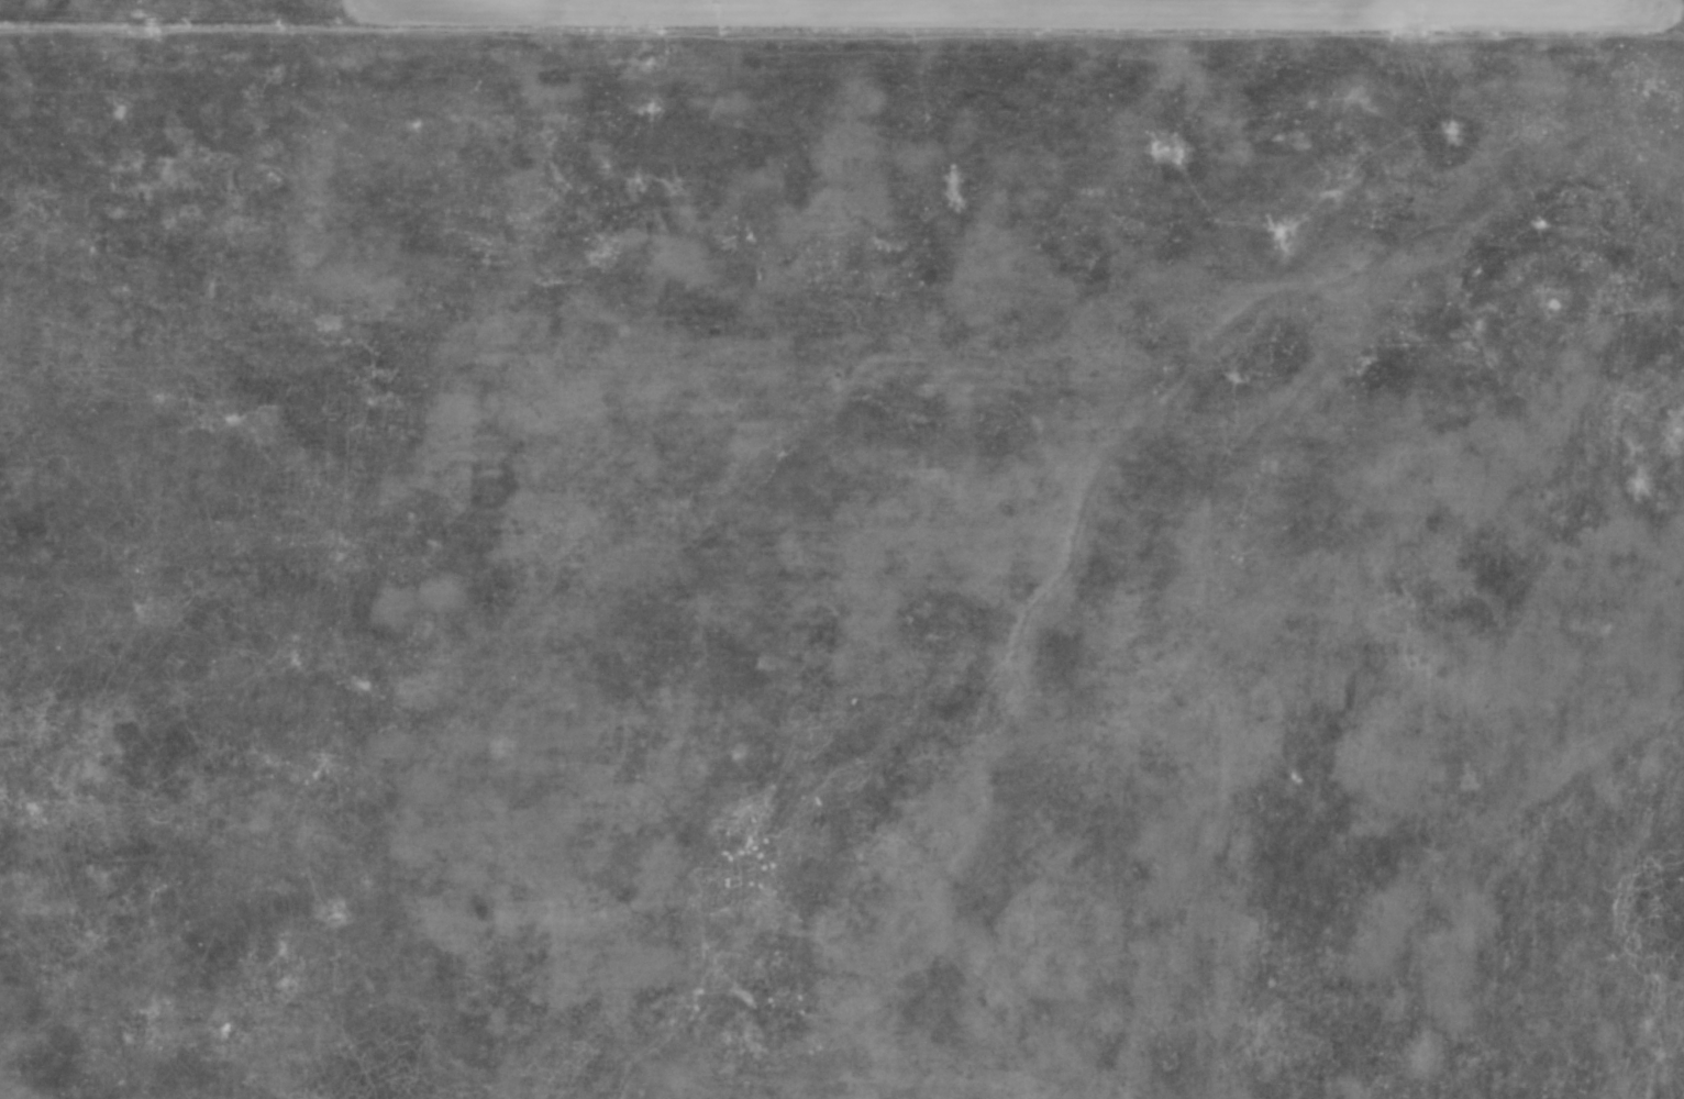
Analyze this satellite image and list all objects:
solar farm: (841, 564)

